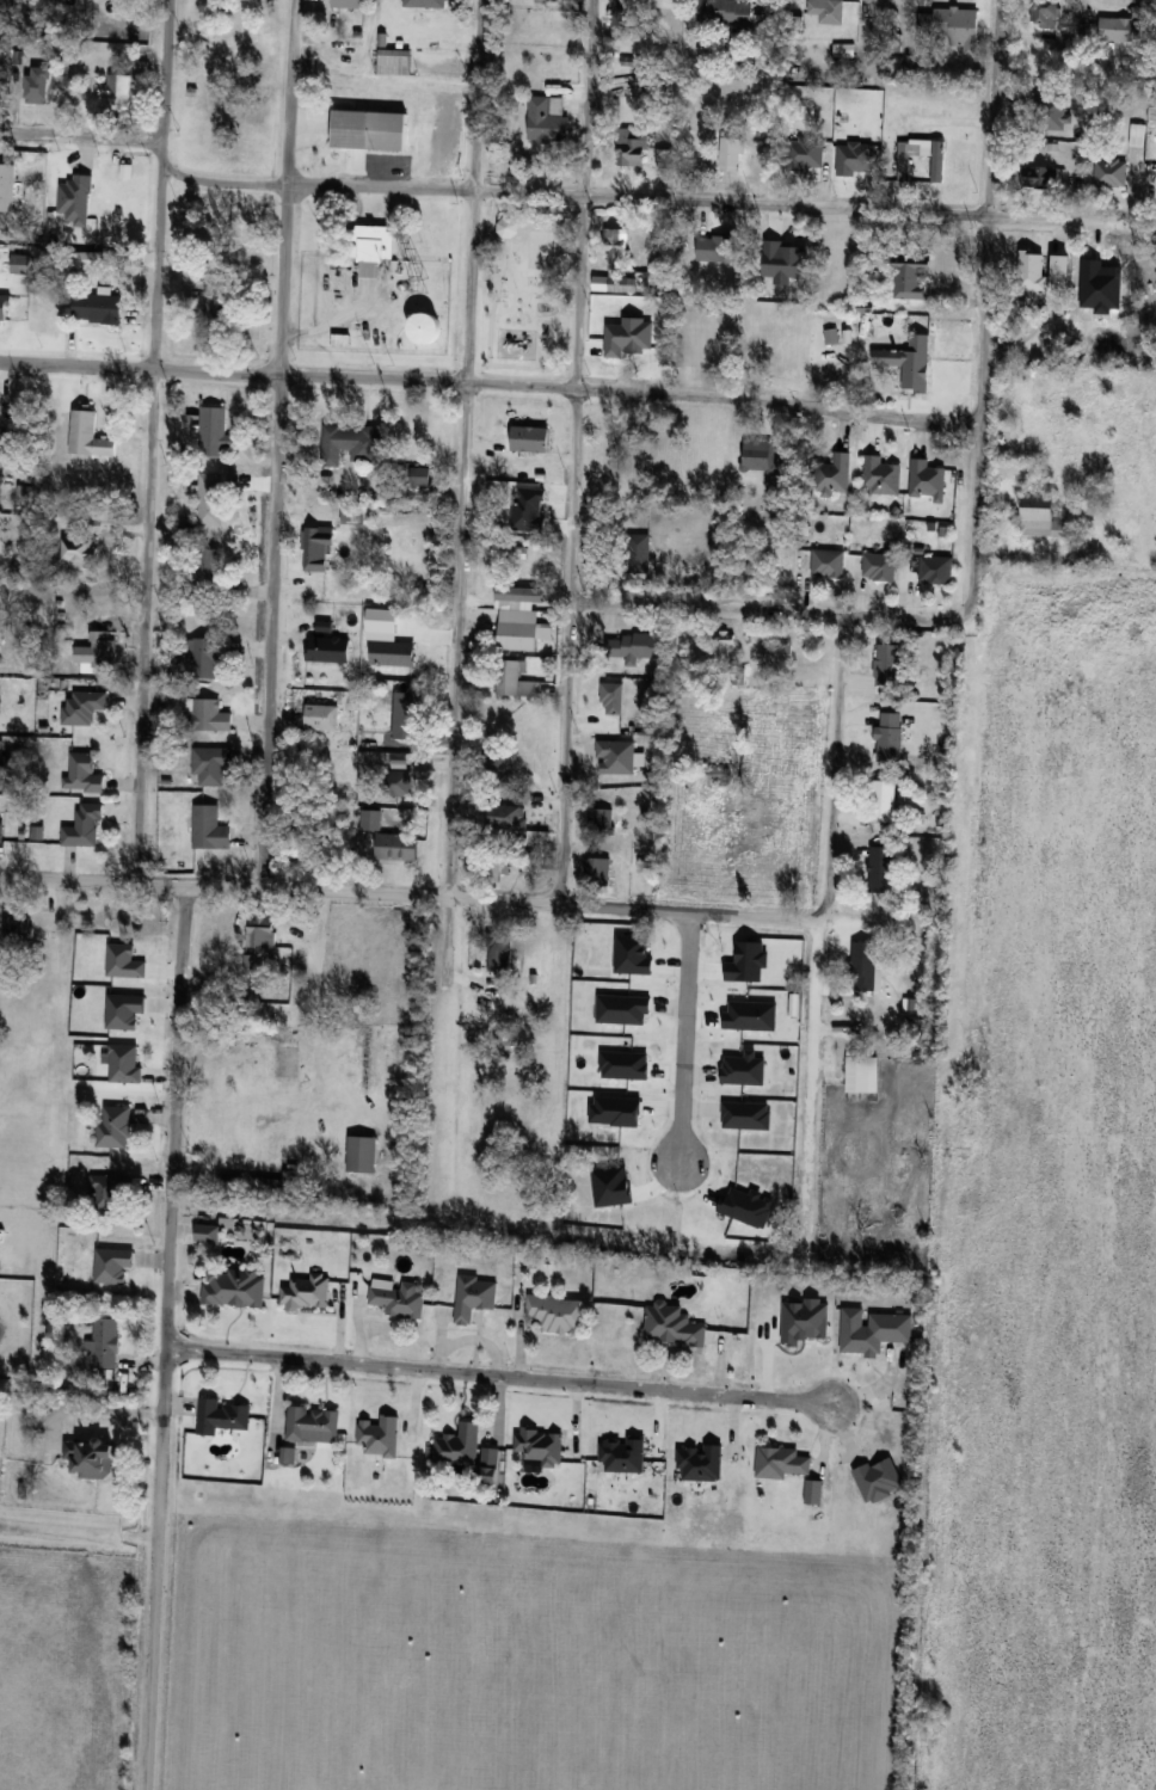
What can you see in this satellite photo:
building: (1, 4)
building: (348, 4)
building: (425, 4)
building: (572, 4)
building: (828, 11)
building: (725, 12)
building: (1045, 13)
building: (626, 19)
building: (959, 27)
building: (1118, 29)
building: (842, 50)
building: (393, 62)
building: (140, 74)
building: (36, 85)
building: (118, 92)
road: (289, 92)
road: (478, 96)
road: (995, 107)
building: (1050, 111)
building: (547, 121)
building: (370, 130)
building: (1136, 134)
building: (632, 147)
building: (774, 150)
building: (731, 154)
building: (850, 155)
building: (911, 162)
building: (1111, 173)
building: (1041, 176)
road: (160, 183)
building: (6, 187)
road: (570, 195)
building: (376, 244)
building: (717, 246)
building: (615, 256)
building: (787, 259)
building: (20, 264)
building: (1032, 270)
building: (1060, 271)
building: (1149, 271)
building: (912, 276)
road: (283, 279)
road: (471, 285)
park: (525, 289)
road: (580, 300)
building: (219, 305)
building: (97, 308)
building: (4, 309)
building: (426, 328)
building: (645, 344)
building: (783, 357)
building: (908, 363)
road: (491, 382)
road: (980, 413)
building: (213, 431)
building: (87, 433)
building: (530, 437)
building: (350, 443)
building: (757, 454)
building: (834, 473)
building: (420, 474)
building: (880, 474)
building: (927, 478)
building: (525, 485)
building: (210, 497)
building: (355, 512)
building: (1040, 516)
building: (318, 546)
building: (79, 549)
building: (509, 550)
building: (635, 552)
building: (828, 562)
building: (879, 565)
building: (935, 568)
building: (207, 572)
building: (516, 597)
road: (767, 611)
road: (143, 626)
road: (271, 631)
building: (522, 632)
road: (457, 638)
building: (720, 646)
building: (634, 647)
building: (328, 648)
building: (97, 650)
building: (393, 652)
building: (779, 653)
building: (203, 658)
building: (888, 662)
building: (174, 664)
building: (514, 679)
building: (611, 697)
building: (84, 706)
building: (210, 715)
building: (407, 715)
building: (321, 716)
building: (888, 736)
road: (564, 752)
building: (616, 756)
building: (2, 764)
building: (209, 764)
building: (499, 765)
building: (84, 773)
building: (400, 782)
building: (884, 800)
building: (506, 817)
building: (601, 818)
building: (328, 819)
building: (370, 819)
building: (84, 826)
building: (209, 828)
building: (1, 830)
road: (832, 838)
building: (396, 845)
building: (503, 863)
building: (597, 868)
building: (881, 868)
road: (67, 879)
road: (475, 897)
building: (17, 928)
building: (263, 930)
road: (439, 954)
building: (499, 954)
building: (250, 962)
building: (866, 966)
road: (688, 1037)
building: (525, 1074)
building: (862, 1074)
building: (115, 1126)
building: (361, 1152)
building: (227, 1180)
building: (283, 1183)
building: (109, 1193)
building: (207, 1231)
building: (234, 1286)
building: (306, 1291)
building: (474, 1296)
building: (399, 1298)
building: (555, 1312)
building: (674, 1325)
building: (872, 1329)
road: (164, 1337)
building: (105, 1341)
road: (496, 1371)
road: (85, 1404)
building: (221, 1416)
building: (313, 1423)
building: (379, 1435)
building: (459, 1445)
building: (541, 1446)
building: (92, 1457)
building: (781, 1462)
building: (813, 1491)

